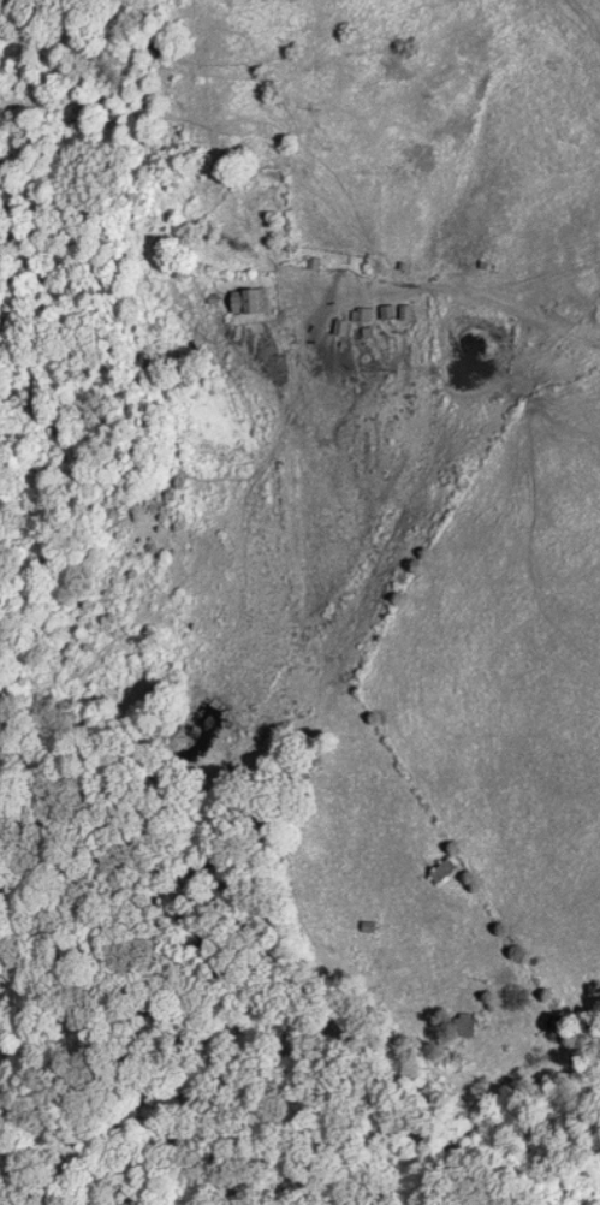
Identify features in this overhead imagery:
building: (245, 303)
building: (360, 316)
building: (439, 869)
building: (363, 925)
building: (456, 1021)

